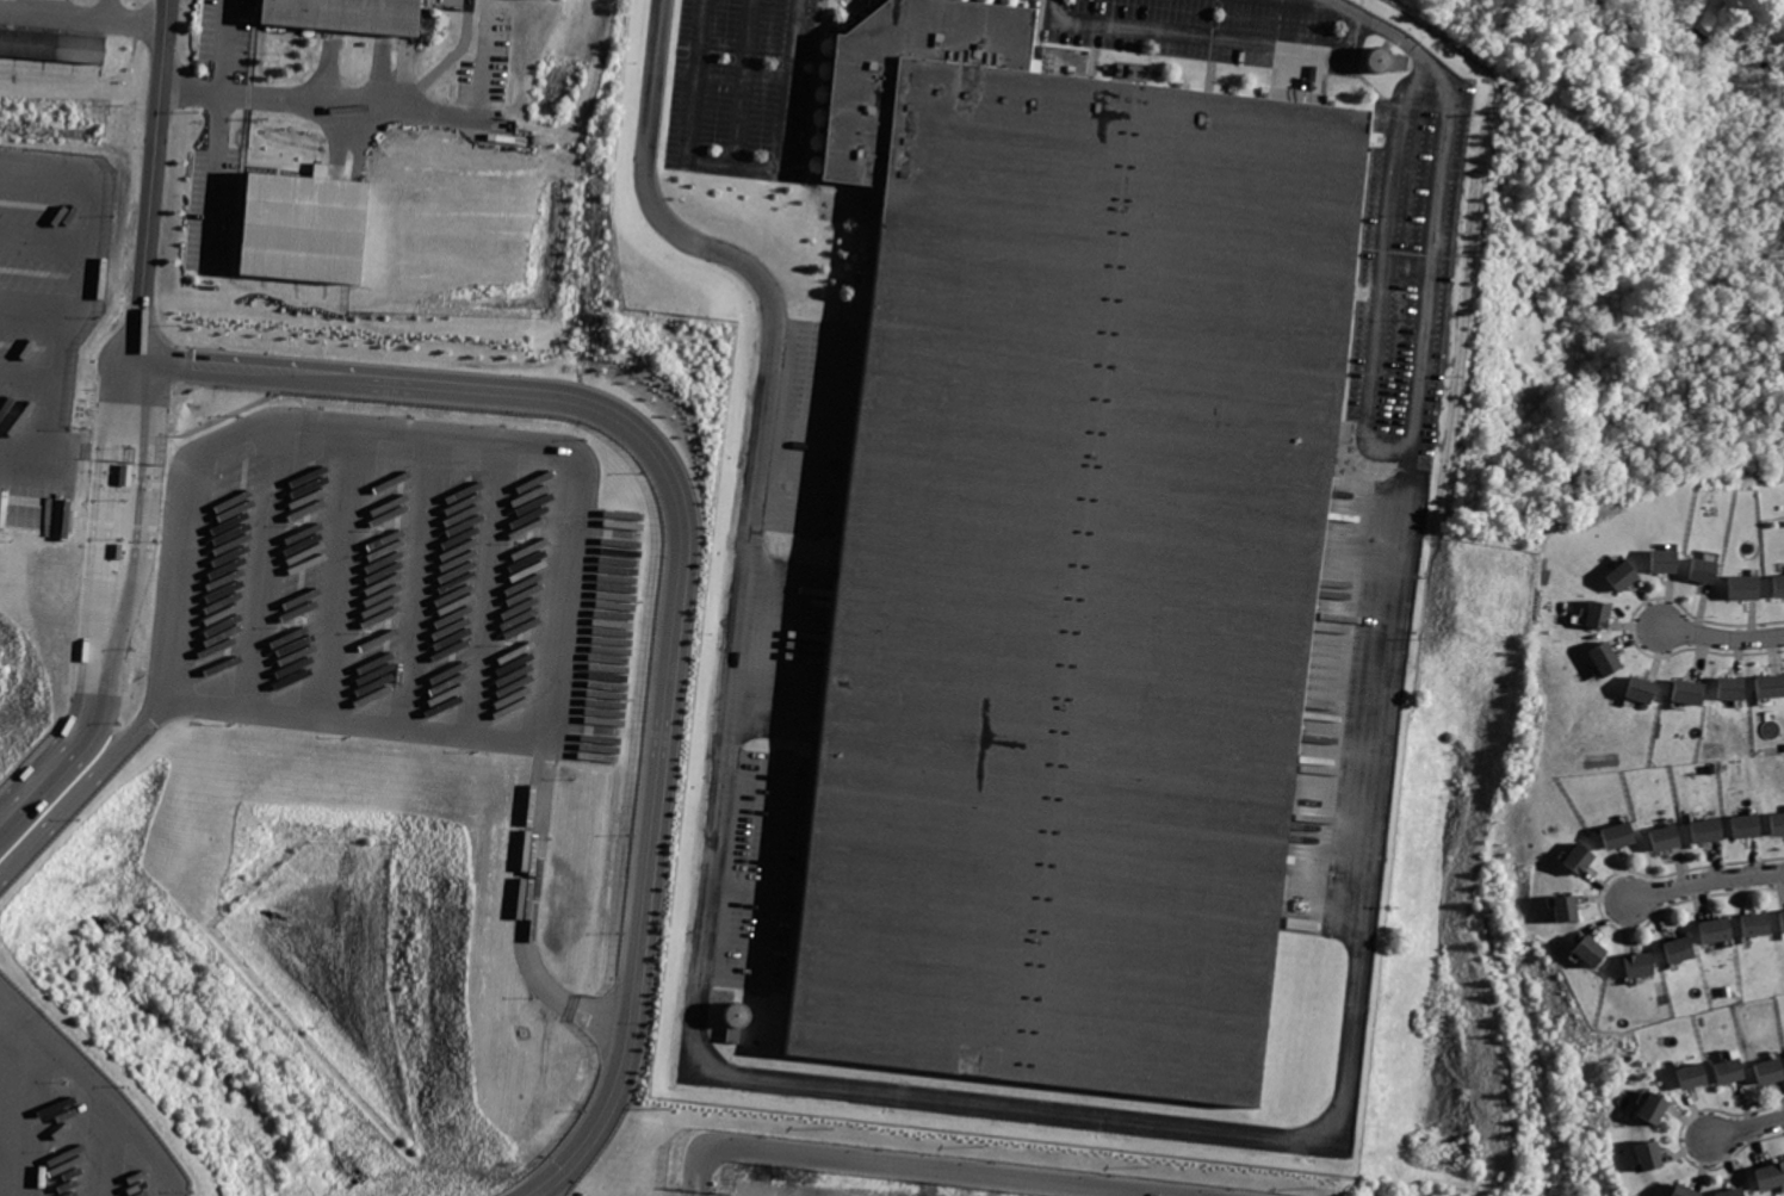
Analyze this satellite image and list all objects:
building: (345, 14)
road: (60, 16)
road: (134, 16)
building: (51, 44)
building: (1383, 60)
road: (483, 66)
water tower: (1376, 66)
road: (328, 101)
road: (217, 132)
road: (151, 180)
building: (303, 227)
road: (43, 234)
road: (81, 295)
road: (37, 305)
road: (247, 368)
road: (26, 379)
road: (217, 441)
building: (1665, 560)
road: (264, 564)
building: (1068, 564)
building: (1705, 569)
road: (340, 571)
building: (1623, 576)
road: (417, 580)
building: (1779, 584)
building: (1746, 585)
road: (488, 587)
road: (107, 608)
building: (1600, 614)
road: (1726, 639)
building: (1608, 658)
road: (676, 677)
building: (1771, 686)
building: (1733, 687)
building: (1643, 688)
building: (1691, 690)
road: (86, 786)
building: (1777, 823)
building: (1749, 825)
building: (1710, 830)
building: (1621, 836)
building: (1670, 837)
building: (1582, 859)
road: (1706, 881)
road: (526, 886)
building: (1571, 907)
building: (1783, 913)
road: (763, 915)
building: (1758, 924)
building: (1718, 929)
building: (1592, 949)
building: (1681, 949)
building: (1641, 963)
road: (13, 1012)
road: (605, 1021)
water tower: (735, 1027)
building: (1771, 1068)
building: (1733, 1070)
building: (1693, 1074)
road: (107, 1104)
building: (1656, 1108)
road: (19, 1110)
road: (1049, 1115)
road: (8, 1123)
road: (1749, 1130)
road: (105, 1151)
building: (1652, 1154)
road: (916, 1165)
building: (1771, 1176)
building: (1687, 1190)
road: (698, 1191)
building: (1733, 1192)
road: (1159, 1194)
road: (1178, 1194)

